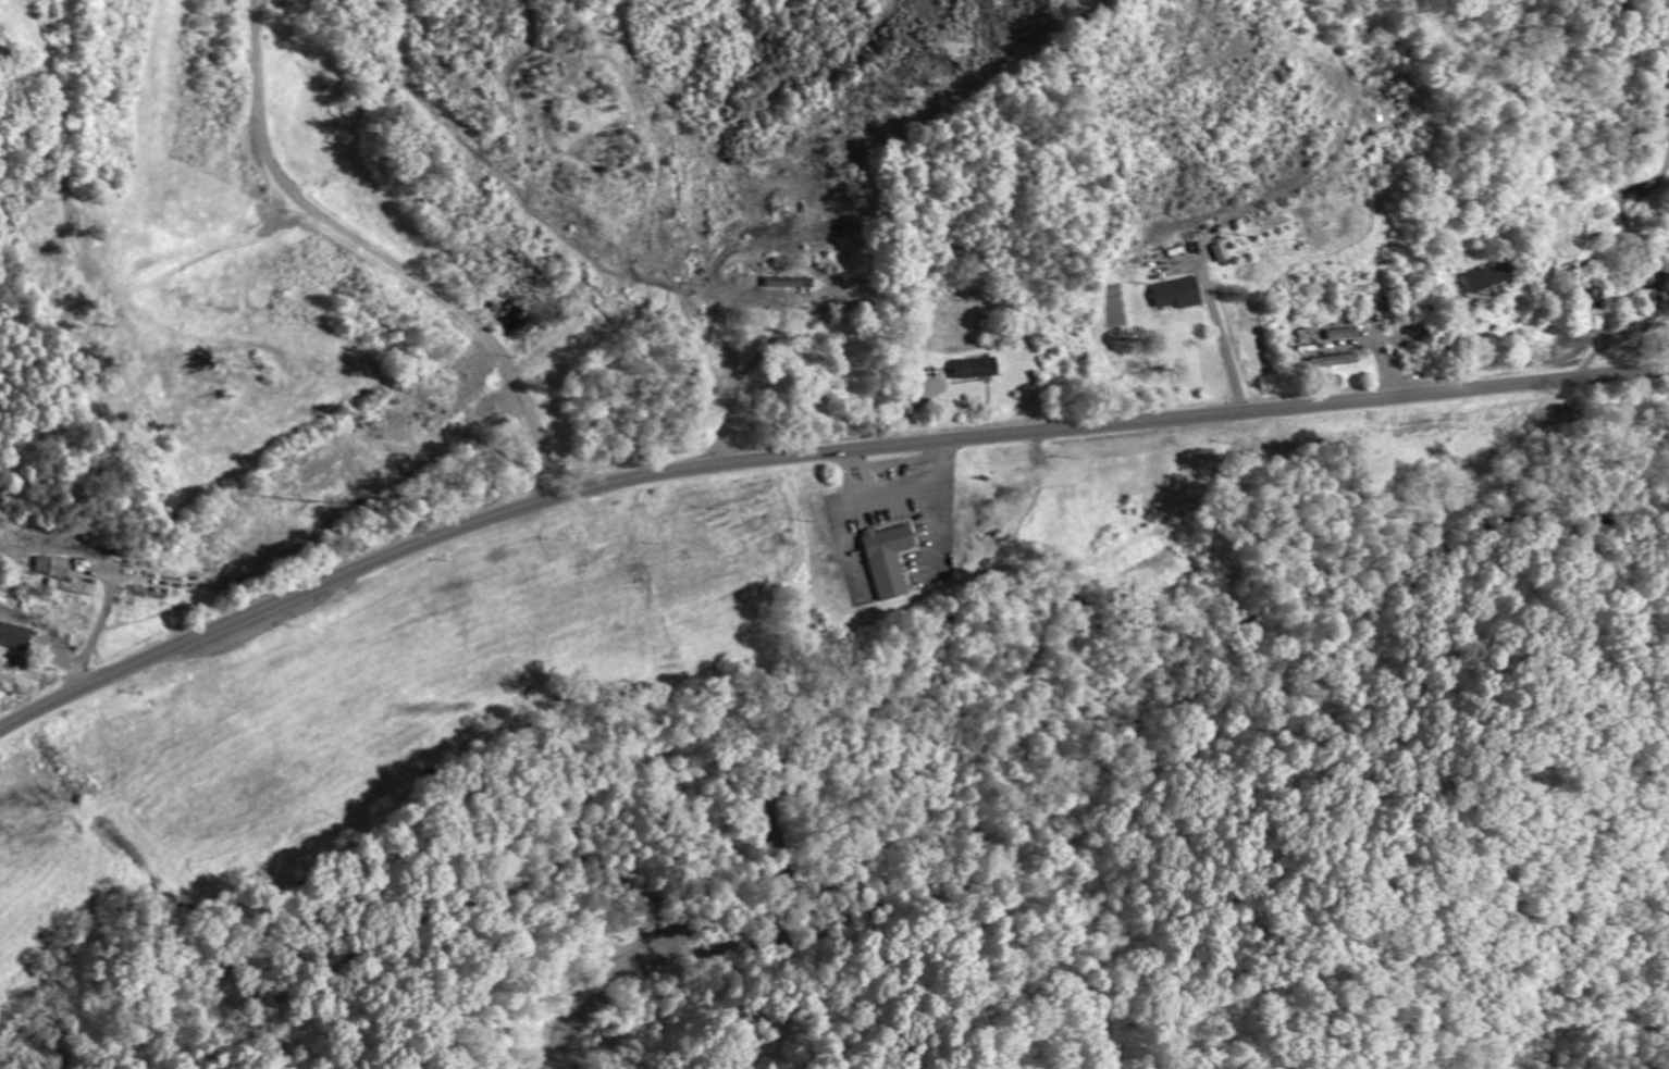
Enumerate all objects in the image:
building: (1484, 276)
building: (784, 281)
building: (1172, 291)
building: (1339, 333)
building: (971, 365)
road: (811, 452)
building: (882, 558)
building: (67, 577)
building: (16, 634)

